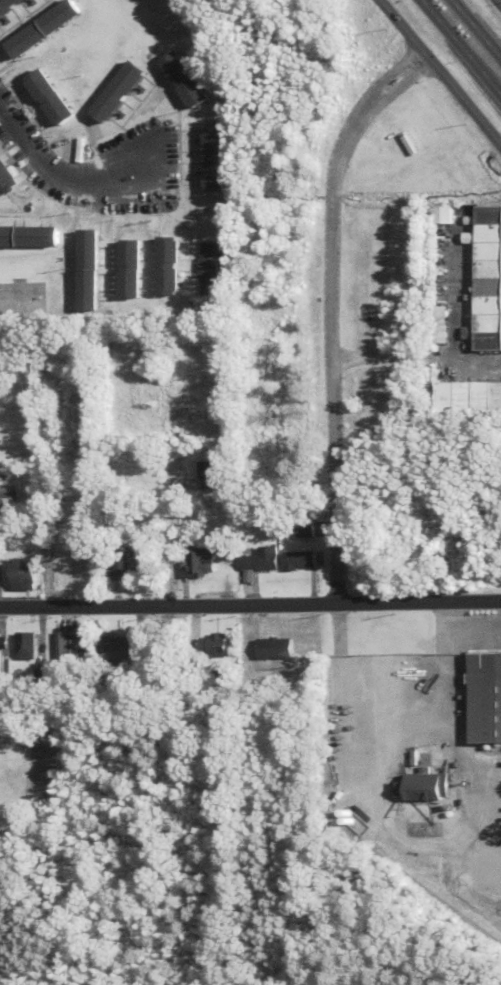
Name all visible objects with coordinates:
building: (7, 5)
road: (494, 7)
building: (39, 29)
road: (471, 34)
road: (456, 53)
road: (435, 79)
building: (177, 80)
building: (112, 92)
building: (44, 98)
building: (206, 158)
building: (2, 179)
road: (54, 181)
building: (432, 214)
building: (26, 237)
building: (161, 266)
building: (203, 268)
building: (123, 269)
building: (81, 270)
building: (484, 280)
road: (321, 311)
building: (433, 325)
road: (412, 361)
building: (466, 397)
building: (203, 474)
building: (4, 497)
road: (160, 530)
building: (254, 560)
building: (294, 560)
building: (187, 562)
building: (119, 565)
building: (17, 574)
road: (250, 604)
road: (476, 629)
building: (62, 643)
building: (17, 646)
building: (205, 646)
building: (267, 649)
building: (107, 651)
road: (389, 674)
building: (29, 677)
building: (481, 697)
building: (420, 787)

